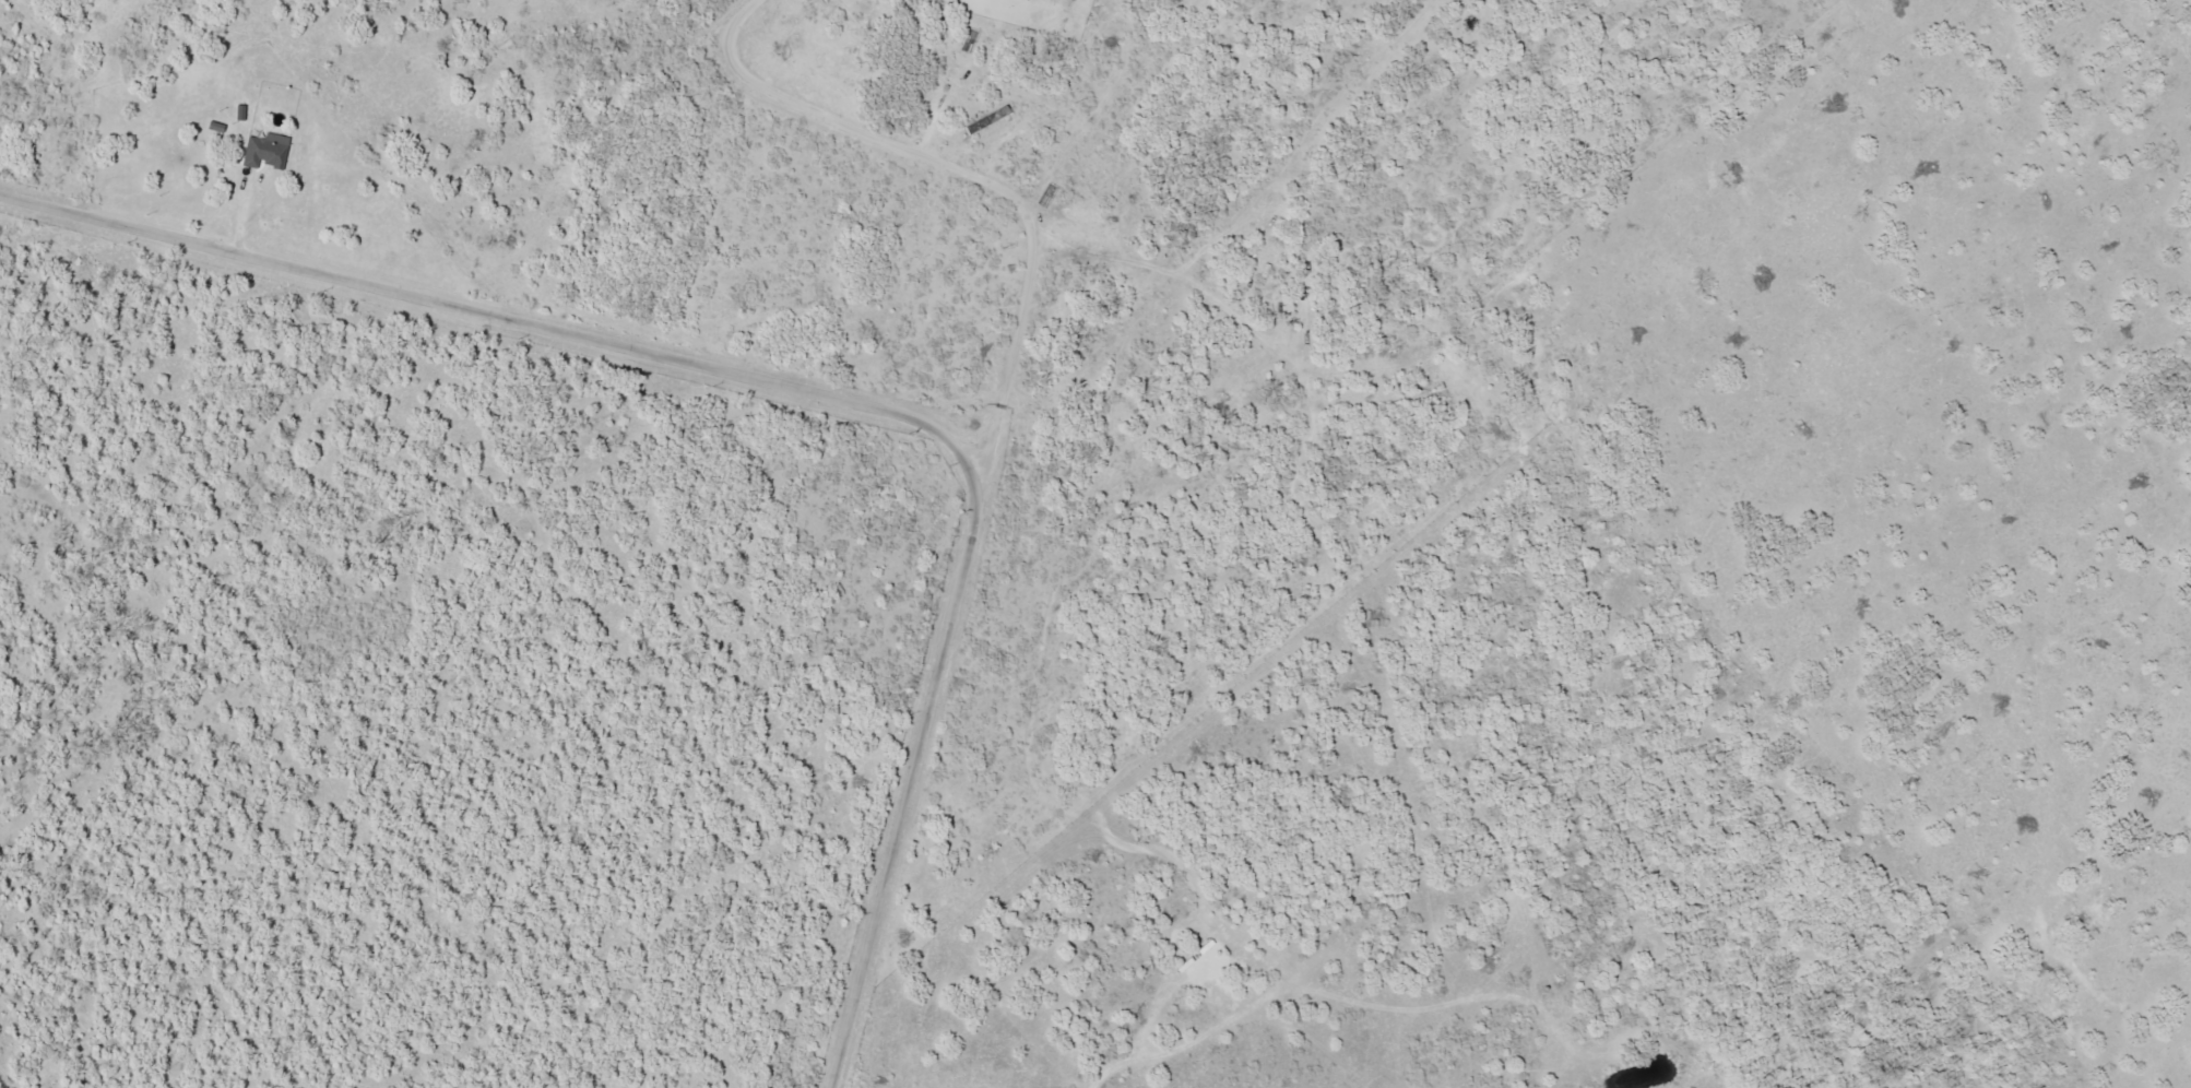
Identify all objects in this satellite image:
building: (985, 119)
road: (1085, 131)
building: (269, 151)
road: (973, 179)
road: (803, 392)
building: (886, 1086)

